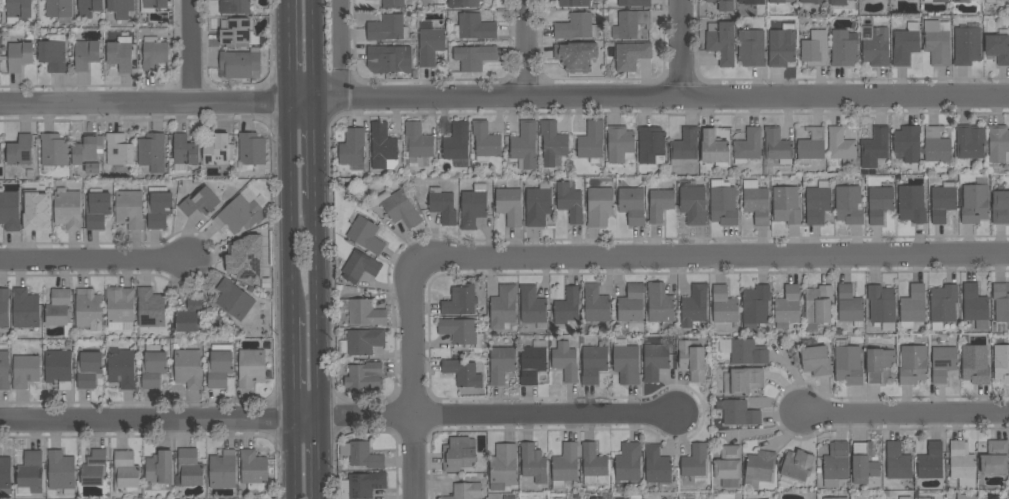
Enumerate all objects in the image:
building: (993, 0)
building: (751, 1)
building: (777, 1)
building: (812, 1)
building: (938, 1)
building: (964, 1)
building: (463, 3)
building: (574, 3)
building: (634, 3)
building: (838, 3)
building: (393, 4)
building: (153, 5)
building: (723, 5)
building: (239, 6)
building: (89, 7)
building: (120, 8)
building: (59, 9)
building: (18, 10)
building: (630, 24)
building: (474, 27)
building: (576, 27)
building: (387, 28)
building: (238, 34)
building: (721, 42)
building: (905, 44)
building: (937, 44)
building: (967, 44)
building: (430, 45)
building: (875, 46)
building: (751, 48)
building: (781, 48)
building: (998, 48)
road: (528, 49)
road: (682, 49)
building: (815, 49)
building: (843, 49)
road: (313, 50)
road: (339, 50)
road: (289, 51)
road: (192, 52)
building: (154, 53)
building: (53, 54)
building: (85, 54)
building: (121, 54)
building: (19, 56)
building: (631, 56)
building: (473, 58)
building: (579, 58)
building: (388, 60)
building: (241, 64)
road: (661, 98)
road: (302, 102)
road: (145, 105)
building: (485, 142)
building: (591, 142)
building: (970, 142)
building: (417, 143)
building: (907, 143)
building: (998, 143)
building: (553, 144)
building: (620, 144)
building: (457, 145)
building: (525, 145)
building: (936, 145)
building: (651, 146)
building: (748, 146)
building: (777, 146)
building: (811, 146)
building: (352, 147)
building: (382, 147)
building: (684, 147)
building: (713, 147)
building: (841, 147)
building: (875, 148)
building: (54, 150)
building: (87, 150)
road: (314, 150)
building: (20, 151)
building: (251, 151)
building: (117, 152)
building: (152, 152)
building: (219, 152)
building: (0, 153)
building: (184, 153)
building: (93, 168)
building: (942, 201)
building: (199, 202)
building: (693, 202)
building: (756, 202)
building: (910, 202)
building: (570, 203)
building: (723, 203)
building: (786, 203)
building: (508, 204)
building: (538, 204)
building: (817, 204)
building: (879, 204)
building: (974, 204)
building: (632, 205)
building: (660, 205)
building: (848, 205)
building: (442, 206)
building: (473, 206)
building: (158, 207)
building: (599, 207)
building: (1000, 207)
building: (396, 208)
building: (35, 209)
building: (67, 209)
building: (129, 209)
building: (9, 210)
building: (97, 210)
road: (291, 210)
building: (240, 215)
building: (366, 236)
building: (249, 255)
road: (711, 257)
road: (96, 261)
building: (358, 267)
building: (234, 300)
building: (460, 301)
building: (1001, 302)
building: (596, 304)
building: (631, 304)
building: (660, 304)
building: (532, 305)
building: (850, 306)
building: (943, 306)
building: (975, 306)
building: (119, 307)
building: (694, 307)
building: (724, 307)
building: (787, 307)
building: (818, 307)
building: (882, 307)
building: (912, 307)
building: (4, 308)
building: (59, 308)
building: (151, 308)
building: (503, 308)
building: (567, 308)
building: (755, 308)
building: (25, 309)
road: (316, 309)
building: (88, 310)
building: (363, 312)
building: (189, 316)
building: (461, 332)
building: (362, 342)
building: (746, 352)
building: (815, 358)
building: (692, 360)
building: (565, 361)
building: (626, 362)
building: (655, 362)
building: (533, 363)
building: (943, 363)
building: (1001, 363)
building: (501, 364)
building: (593, 364)
building: (848, 364)
building: (975, 364)
building: (219, 365)
building: (880, 365)
building: (912, 365)
building: (153, 367)
building: (59, 368)
building: (188, 368)
building: (251, 368)
road: (292, 368)
building: (122, 369)
building: (4, 370)
building: (88, 370)
building: (25, 371)
building: (462, 373)
building: (363, 375)
road: (414, 379)
building: (745, 380)
building: (738, 412)
road: (906, 415)
road: (497, 416)
road: (159, 421)
building: (459, 454)
building: (362, 455)
building: (995, 458)
road: (293, 459)
road: (319, 459)
building: (695, 461)
building: (897, 462)
building: (931, 462)
building: (533, 463)
building: (628, 463)
building: (863, 463)
building: (835, 464)
building: (962, 464)
building: (565, 465)
building: (657, 465)
building: (797, 465)
building: (594, 466)
building: (728, 466)
building: (503, 467)
building: (189, 468)
building: (94, 469)
building: (758, 469)
building: (223, 470)
building: (159, 471)
building: (253, 471)
building: (31, 472)
building: (61, 472)
building: (125, 472)
building: (5, 473)
building: (362, 485)
building: (466, 491)
building: (966, 497)
building: (558, 498)
building: (599, 498)
building: (831, 498)
building: (905, 498)
building: (925, 498)

